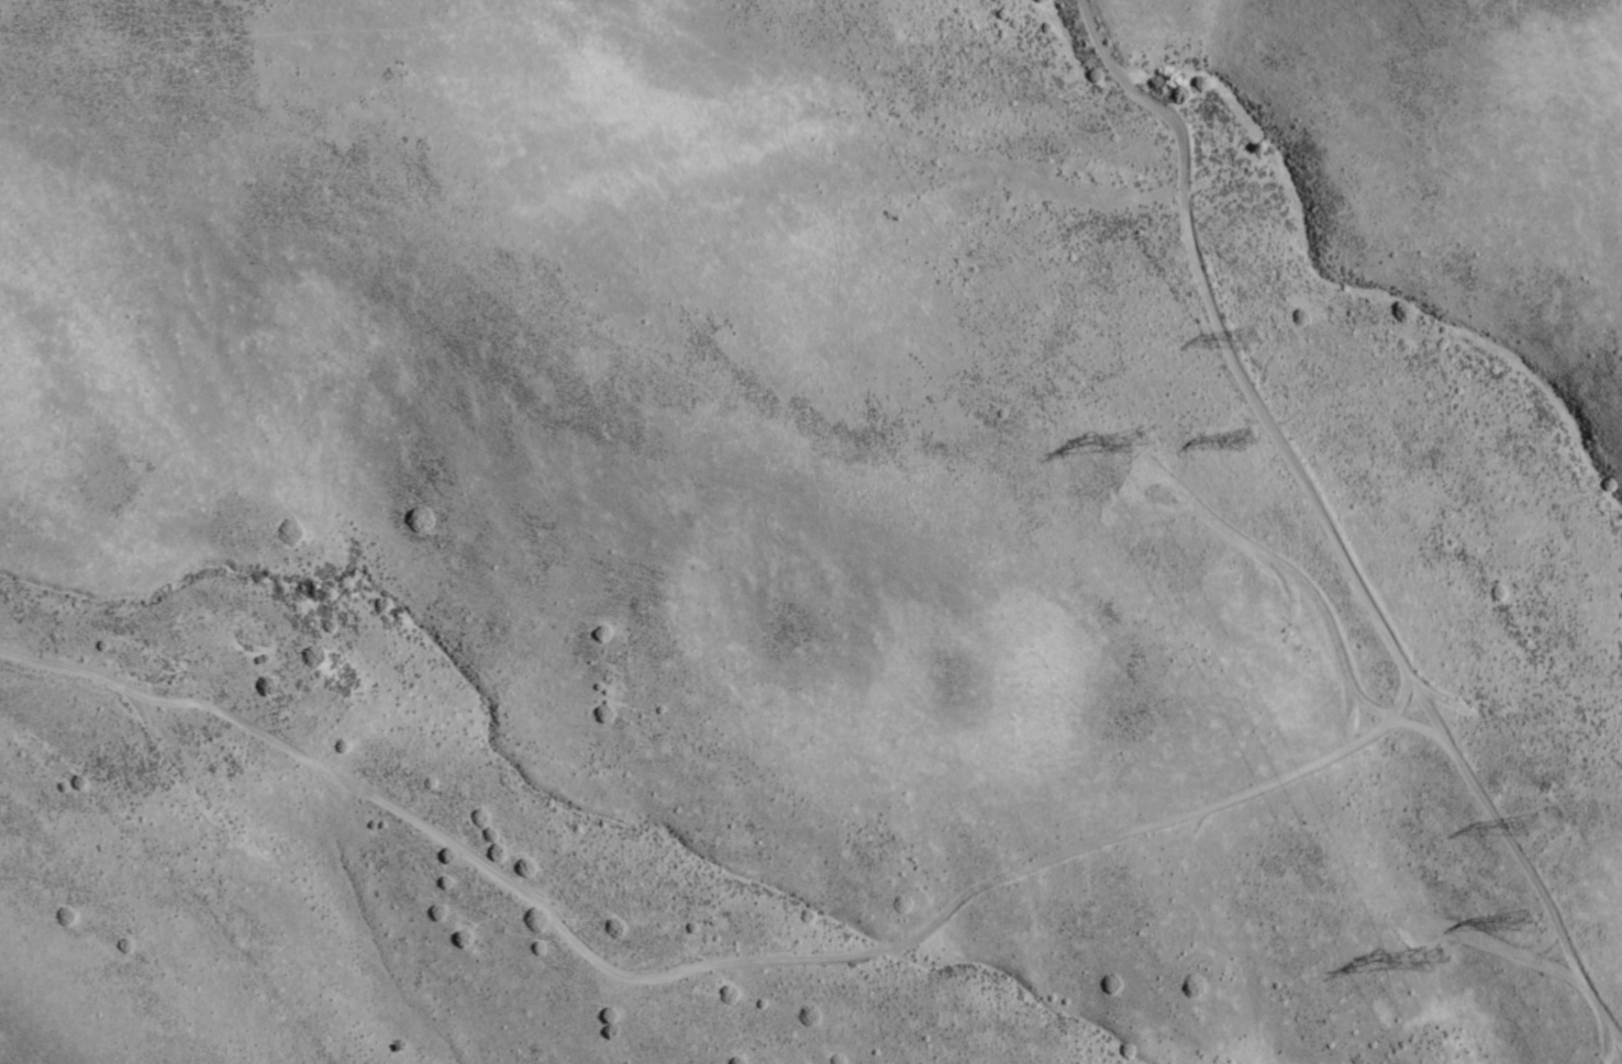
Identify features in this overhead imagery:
power tower: (1267, 332)
road: (1229, 358)
power tower: (1257, 435)
power tower: (1158, 437)
road: (1493, 814)
power tower: (1558, 821)
power tower: (1538, 919)
road: (710, 954)
power tower: (1457, 956)
road: (1597, 1001)

